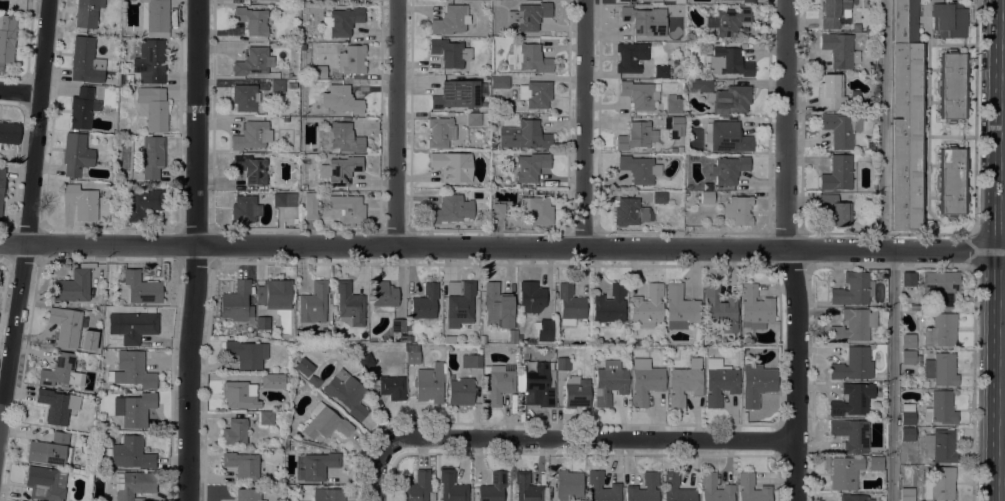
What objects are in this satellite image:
building: (625, 0)
building: (655, 0)
building: (721, 0)
building: (748, 1)
building: (87, 13)
building: (834, 13)
building: (529, 16)
building: (154, 17)
building: (948, 19)
building: (252, 20)
building: (450, 20)
building: (644, 20)
building: (728, 21)
building: (340, 22)
building: (310, 36)
building: (303, 37)
building: (6, 38)
building: (839, 50)
building: (449, 52)
building: (630, 56)
building: (529, 58)
building: (150, 59)
building: (352, 60)
building: (85, 61)
building: (253, 62)
building: (727, 62)
building: (319, 71)
building: (661, 71)
building: (120, 77)
building: (500, 82)
building: (110, 84)
building: (277, 85)
building: (291, 85)
building: (951, 85)
building: (130, 89)
building: (831, 92)
road: (22, 94)
building: (456, 94)
building: (535, 94)
building: (639, 94)
building: (724, 96)
building: (245, 97)
building: (340, 99)
building: (673, 104)
building: (82, 107)
building: (152, 107)
building: (905, 116)
road: (974, 117)
building: (285, 119)
building: (473, 119)
road: (392, 123)
road: (583, 124)
road: (882, 125)
building: (674, 126)
building: (840, 128)
building: (8, 132)
building: (440, 132)
building: (251, 135)
building: (524, 135)
building: (636, 135)
building: (342, 136)
building: (726, 137)
building: (493, 147)
building: (673, 150)
building: (76, 155)
building: (152, 156)
building: (452, 166)
building: (531, 166)
building: (250, 169)
building: (340, 169)
building: (639, 169)
building: (728, 169)
building: (837, 173)
building: (950, 180)
building: (1, 185)
building: (303, 187)
building: (659, 197)
building: (706, 197)
building: (278, 199)
building: (81, 201)
building: (140, 203)
building: (310, 205)
building: (347, 208)
building: (244, 209)
building: (451, 209)
building: (738, 209)
building: (835, 209)
building: (498, 210)
building: (536, 210)
road: (29, 212)
building: (629, 212)
road: (927, 233)
road: (97, 244)
road: (600, 248)
road: (194, 250)
road: (788, 250)
road: (1002, 250)
road: (934, 266)
building: (910, 279)
building: (72, 286)
building: (941, 287)
building: (138, 288)
building: (853, 288)
building: (274, 294)
building: (383, 296)
building: (531, 296)
building: (424, 302)
building: (459, 302)
building: (237, 303)
building: (313, 303)
building: (349, 304)
building: (569, 304)
building: (610, 304)
building: (497, 305)
building: (647, 306)
building: (914, 306)
building: (680, 308)
building: (720, 308)
building: (755, 308)
building: (262, 324)
building: (397, 325)
building: (853, 325)
building: (65, 326)
building: (132, 326)
building: (545, 330)
building: (940, 330)
building: (324, 332)
building: (334, 335)
building: (407, 339)
building: (448, 339)
building: (636, 341)
building: (908, 341)
building: (246, 353)
building: (412, 353)
building: (522, 356)
building: (908, 357)
building: (471, 360)
building: (365, 361)
building: (562, 363)
building: (853, 364)
building: (303, 366)
building: (940, 369)
building: (60, 370)
building: (131, 370)
road: (892, 376)
building: (272, 380)
building: (313, 380)
building: (609, 381)
building: (645, 381)
building: (719, 381)
building: (497, 382)
building: (685, 382)
building: (903, 382)
building: (538, 383)
building: (428, 384)
building: (756, 384)
road: (973, 384)
building: (392, 387)
building: (460, 391)
building: (575, 391)
building: (347, 392)
building: (240, 394)
building: (852, 399)
road: (1, 402)
building: (57, 405)
building: (940, 407)
building: (134, 408)
building: (907, 414)
building: (266, 418)
building: (325, 422)
building: (235, 431)
building: (907, 433)
building: (851, 434)
road: (588, 438)
building: (940, 446)
building: (50, 449)
building: (129, 453)
building: (875, 463)
building: (242, 464)
building: (318, 465)
building: (844, 472)
road: (377, 474)
building: (45, 483)
building: (133, 484)
building: (939, 484)
building: (568, 485)
building: (415, 486)
building: (451, 487)
building: (493, 487)
building: (526, 487)
building: (727, 487)
building: (602, 488)
building: (675, 488)
building: (746, 488)
building: (643, 489)
building: (250, 494)
building: (328, 494)
building: (906, 494)
building: (432, 496)
building: (854, 497)
building: (21, 500)

